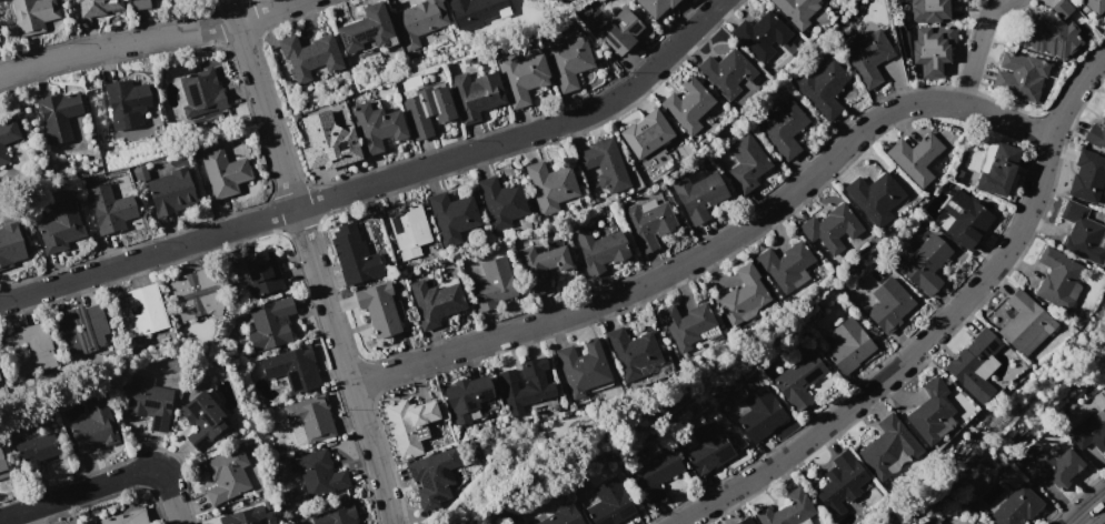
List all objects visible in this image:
building: (137, 4)
building: (653, 6)
building: (1094, 6)
building: (96, 8)
building: (797, 10)
building: (932, 10)
road: (265, 11)
building: (475, 12)
building: (30, 16)
building: (417, 19)
building: (364, 29)
building: (619, 31)
building: (1049, 32)
building: (760, 34)
road: (116, 43)
building: (933, 48)
road: (974, 50)
building: (307, 54)
building: (866, 56)
building: (566, 59)
building: (726, 72)
building: (521, 77)
building: (1019, 77)
building: (822, 85)
building: (745, 88)
building: (200, 91)
building: (472, 93)
building: (123, 101)
building: (688, 105)
building: (61, 109)
building: (425, 109)
building: (374, 125)
building: (782, 128)
building: (7, 131)
building: (644, 132)
building: (1096, 133)
building: (326, 142)
building: (0, 154)
building: (916, 157)
building: (746, 162)
building: (605, 164)
building: (997, 168)
building: (221, 170)
building: (1087, 177)
road: (376, 180)
building: (549, 185)
building: (168, 192)
building: (698, 195)
building: (875, 196)
building: (501, 202)
building: (108, 208)
building: (452, 216)
building: (964, 220)
building: (648, 222)
building: (59, 225)
building: (830, 228)
building: (408, 229)
building: (1081, 233)
building: (9, 243)
road: (715, 245)
building: (599, 249)
building: (354, 254)
road: (310, 260)
building: (926, 263)
building: (541, 266)
building: (785, 266)
building: (260, 273)
building: (1057, 278)
building: (492, 283)
building: (191, 295)
building: (741, 296)
building: (435, 302)
building: (888, 305)
building: (378, 309)
building: (140, 311)
building: (270, 324)
building: (1024, 324)
building: (686, 325)
road: (935, 326)
building: (82, 329)
building: (848, 345)
building: (29, 350)
building: (633, 353)
building: (975, 364)
building: (292, 369)
building: (581, 369)
building: (799, 380)
building: (525, 383)
building: (467, 397)
building: (149, 402)
building: (932, 412)
building: (203, 413)
building: (760, 414)
building: (309, 420)
building: (410, 424)
building: (93, 425)
building: (1089, 431)
building: (708, 447)
building: (888, 447)
building: (37, 451)
building: (2, 465)
building: (1049, 465)
building: (318, 472)
building: (654, 474)
building: (227, 475)
building: (431, 475)
building: (840, 483)
road: (77, 493)
road: (169, 496)
building: (609, 504)
building: (1016, 507)
building: (787, 510)
road: (1094, 514)
building: (563, 515)
building: (245, 516)
building: (336, 516)
building: (126, 517)
building: (261, 521)
building: (746, 521)

